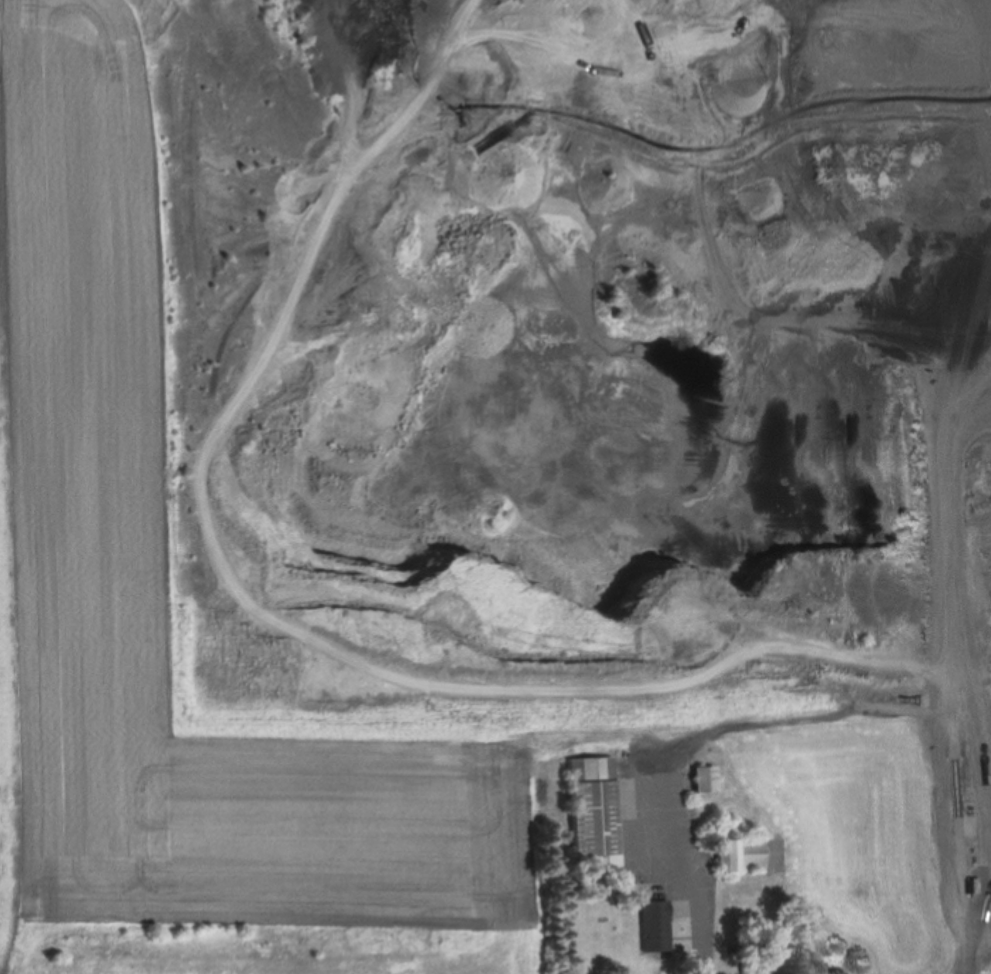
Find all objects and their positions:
building: (602, 702)
building: (706, 779)
building: (595, 811)
building: (742, 855)
road: (705, 892)
building: (657, 926)

